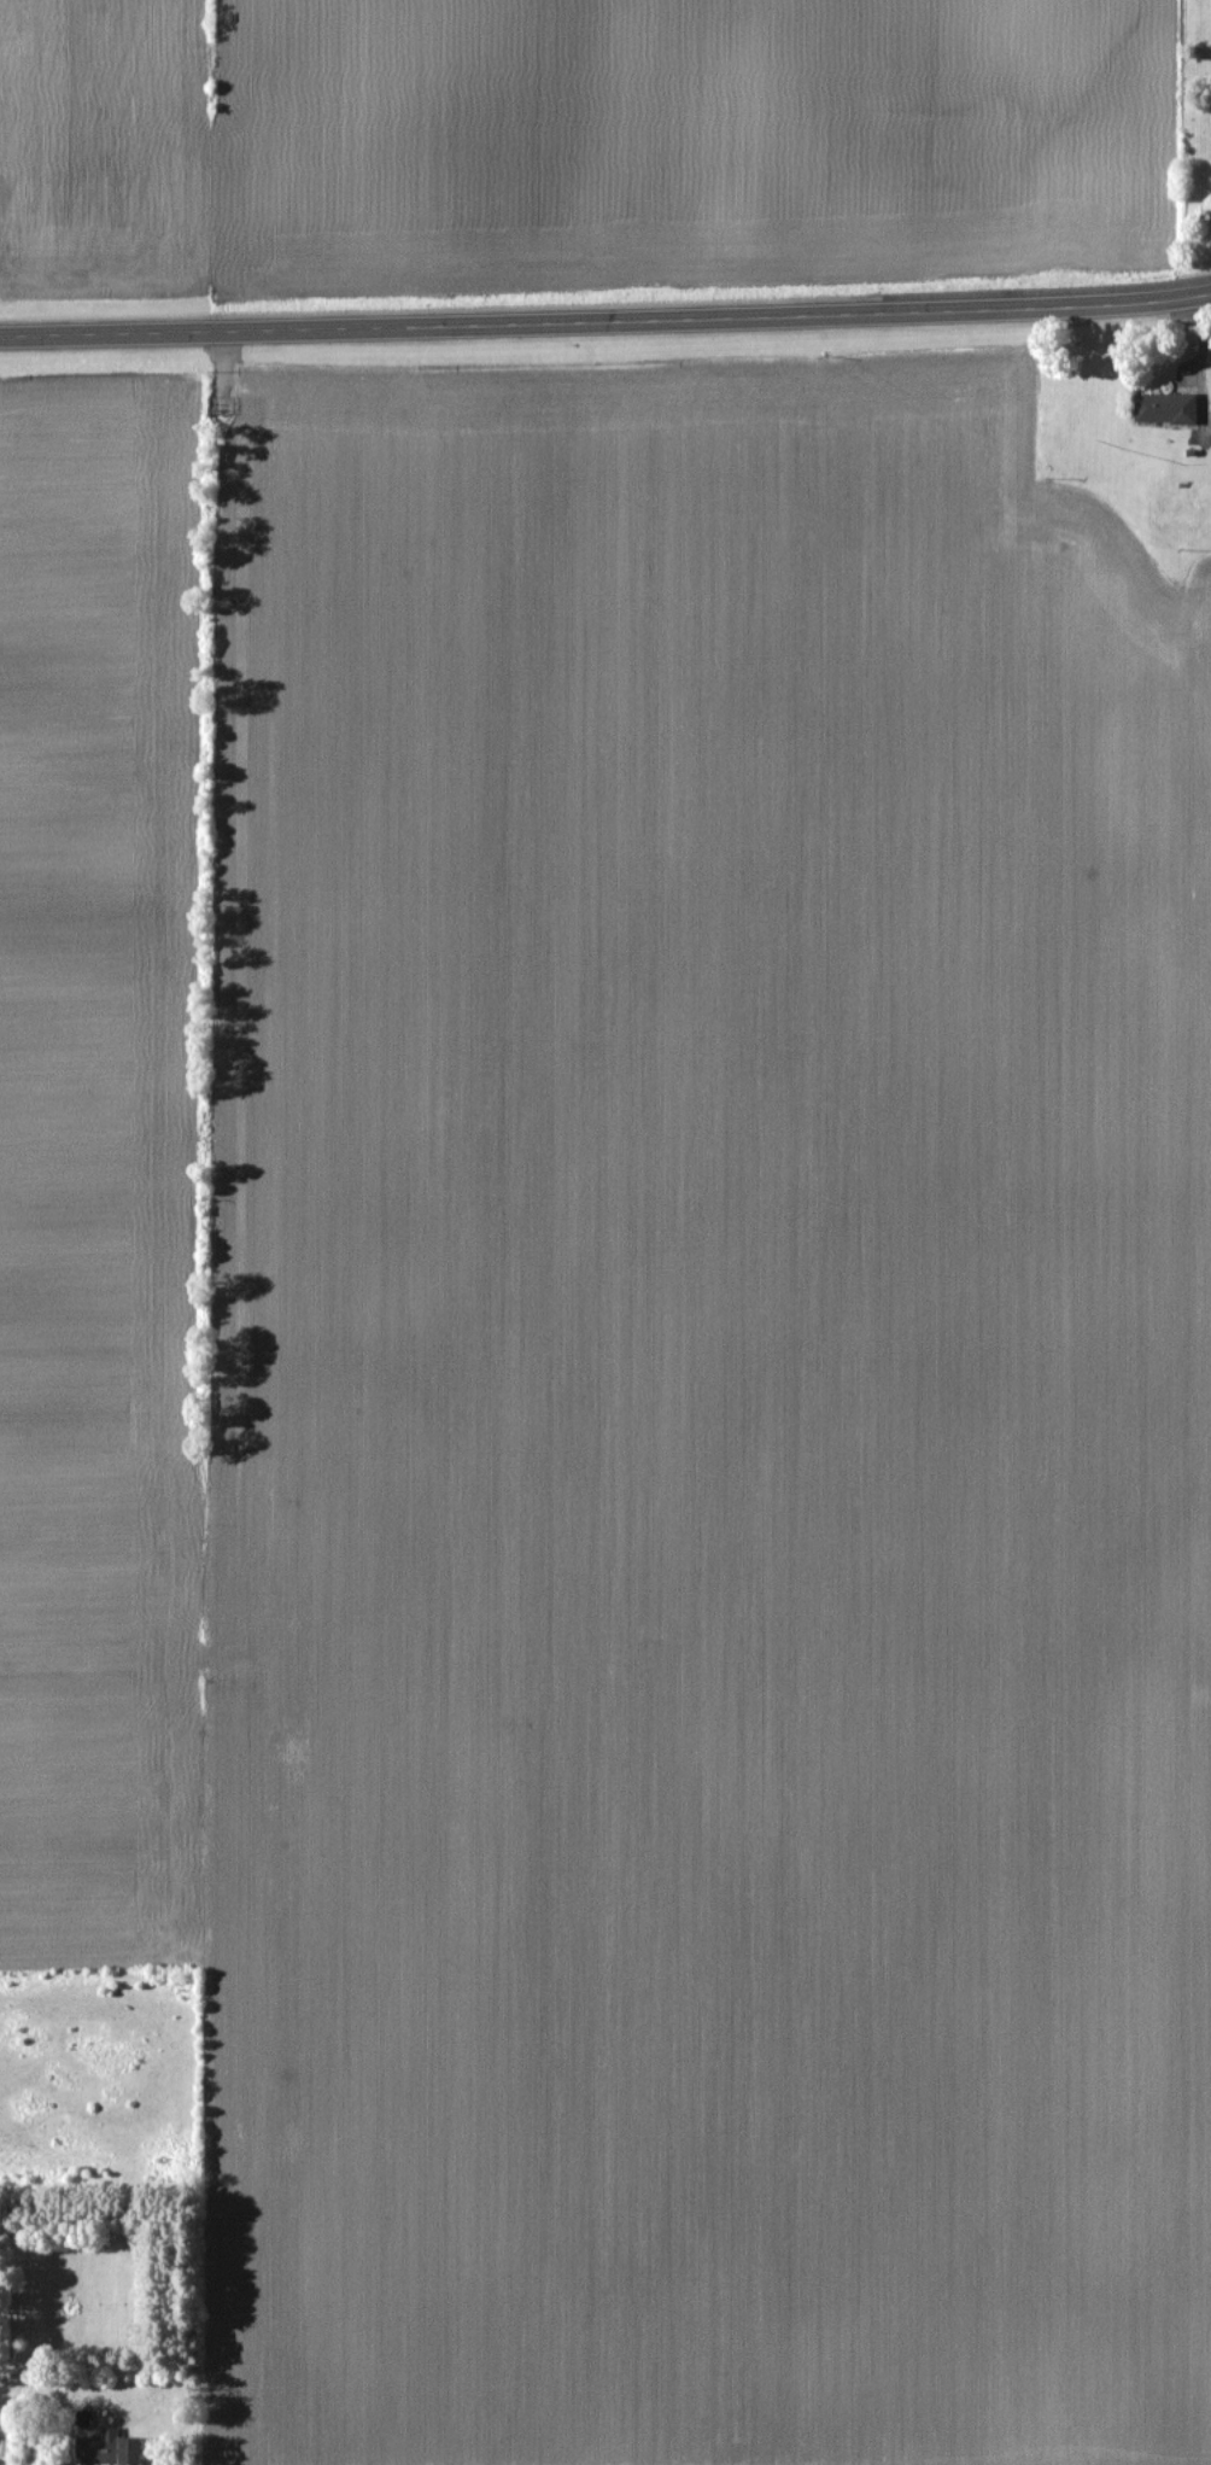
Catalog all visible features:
park: (1195, 132)
road: (605, 321)
building: (1164, 409)
building: (1183, 507)
building: (106, 2449)

